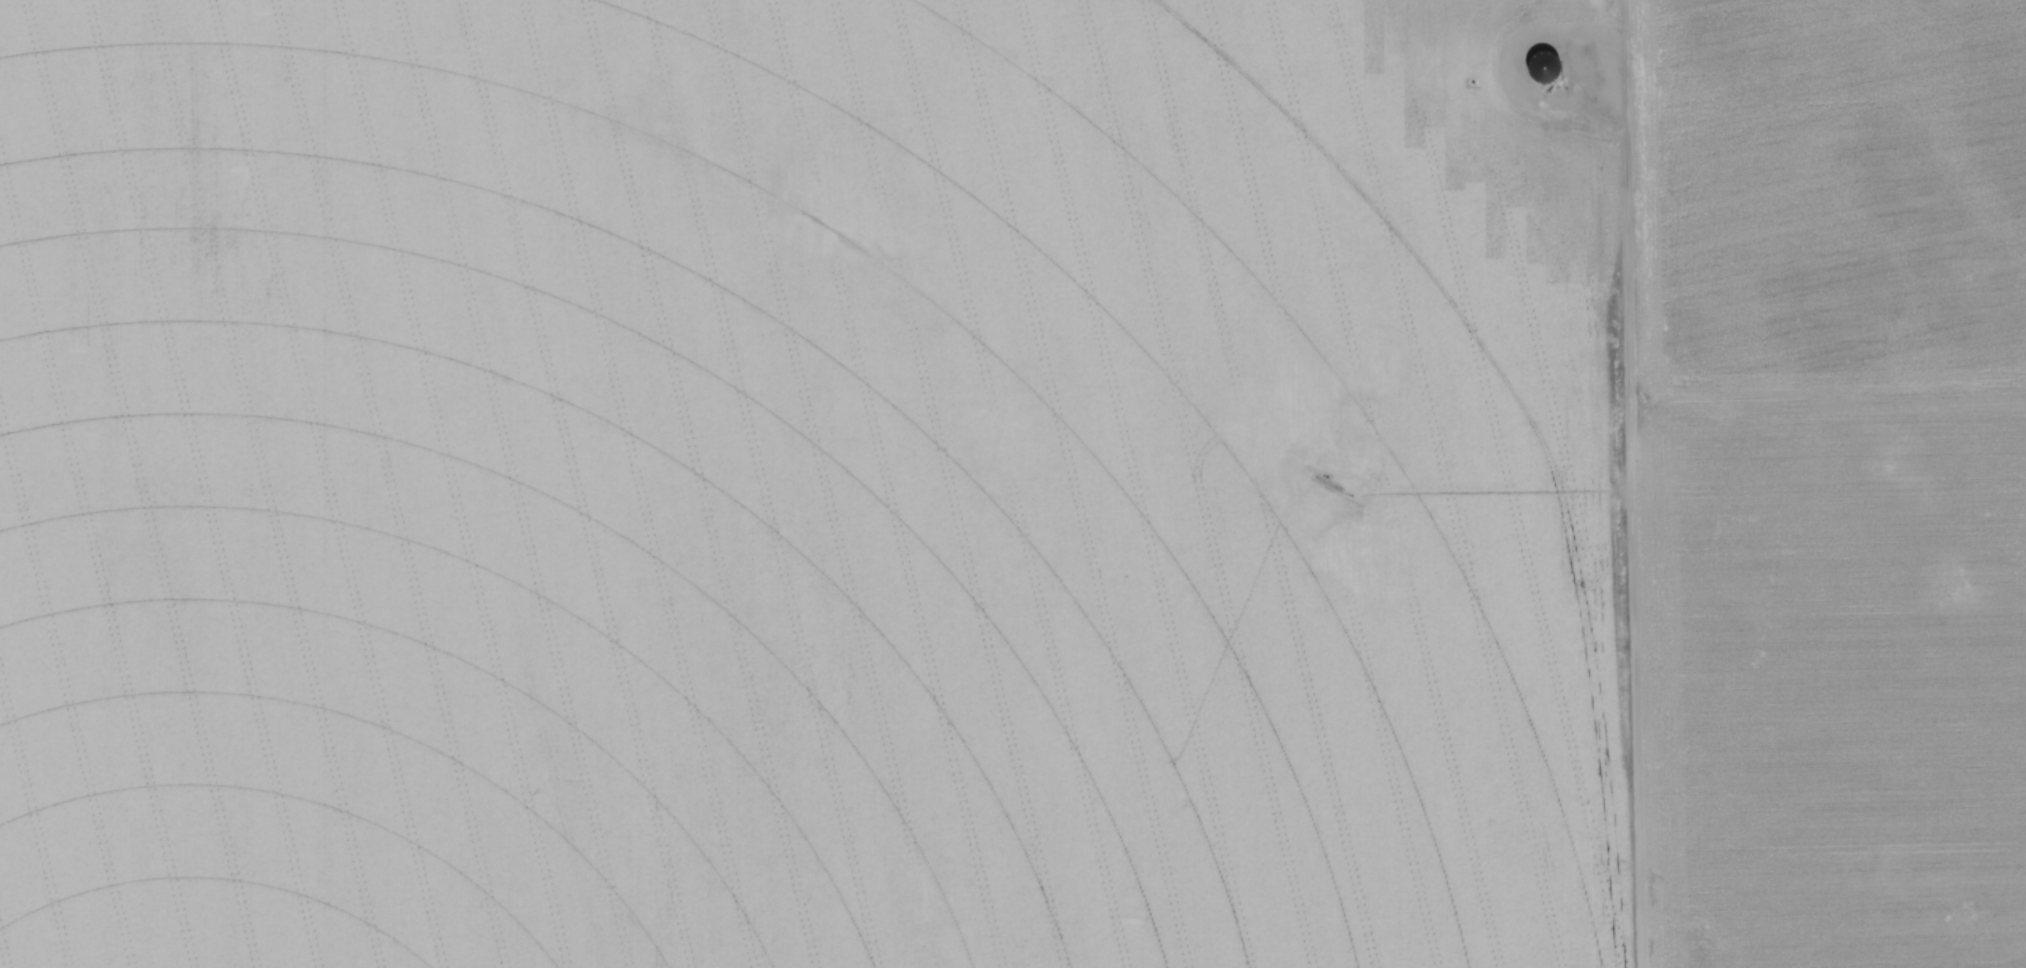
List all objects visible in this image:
crop: (1013, 484)

